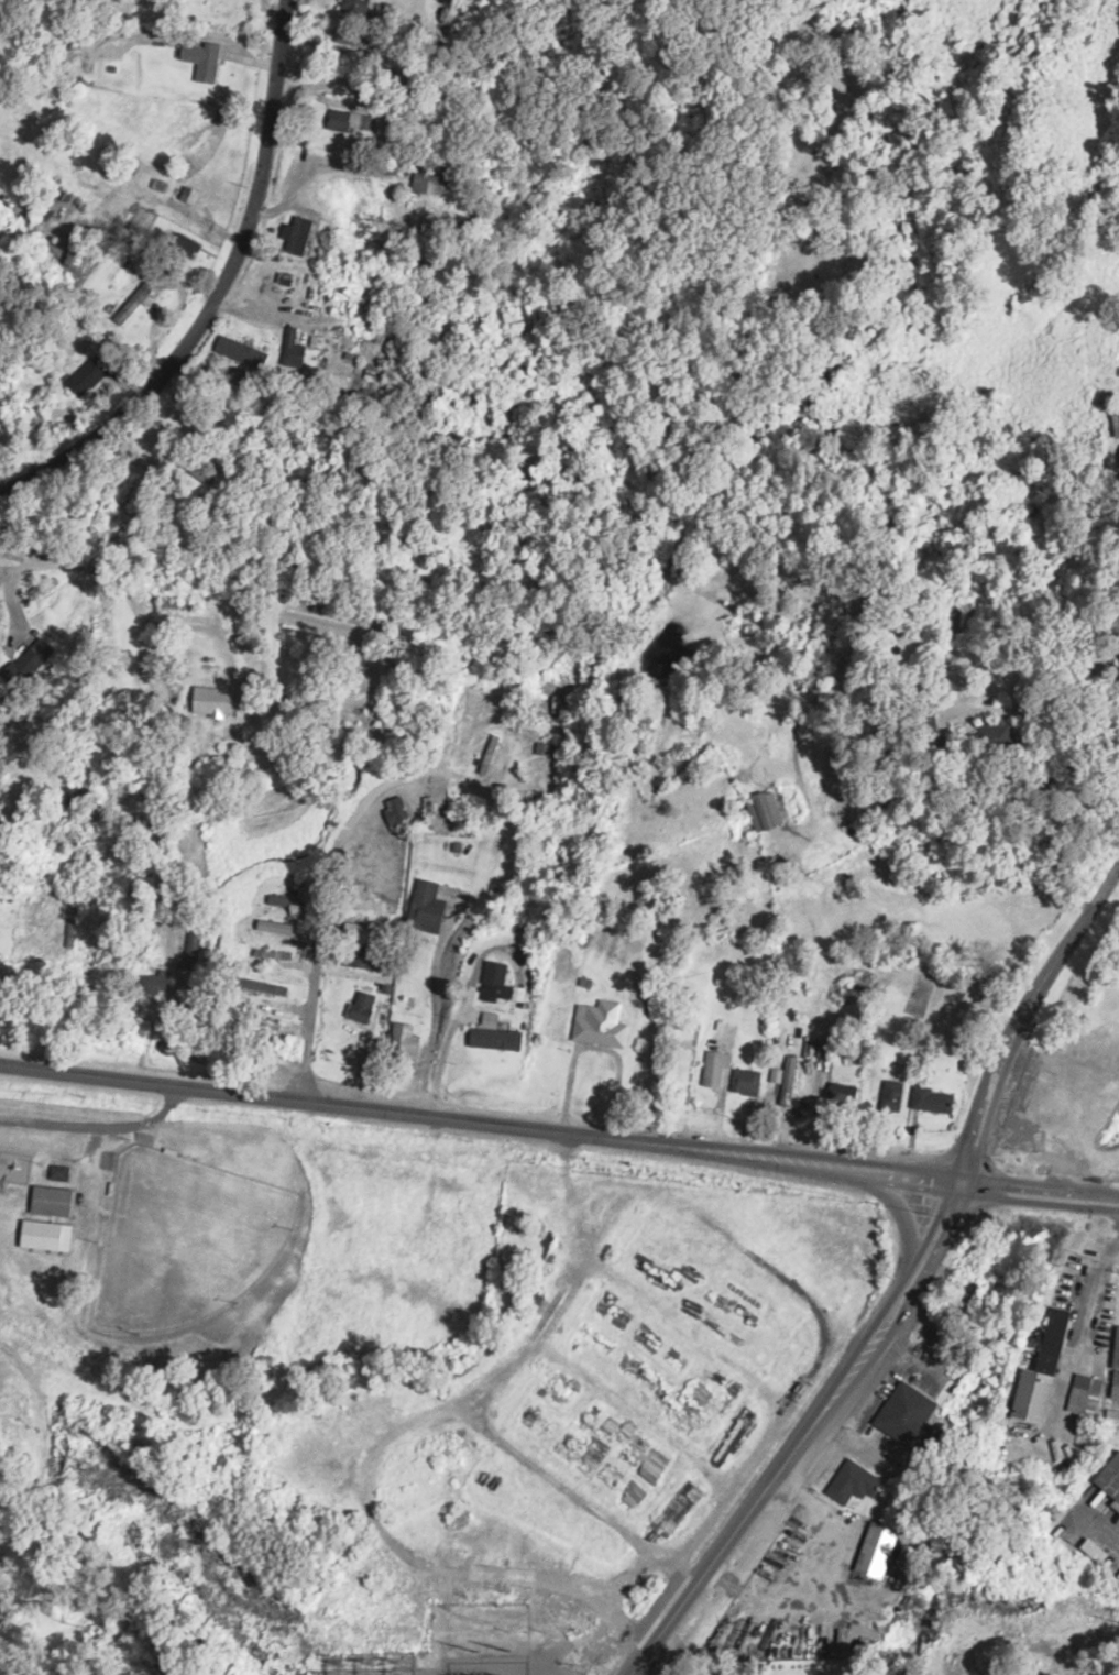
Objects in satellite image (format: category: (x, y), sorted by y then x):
building: (355, 10)
building: (352, 46)
building: (204, 59)
building: (348, 121)
building: (432, 183)
building: (311, 194)
building: (191, 195)
building: (299, 236)
building: (185, 247)
road: (216, 291)
building: (135, 303)
building: (240, 352)
building: (90, 375)
building: (29, 661)
building: (560, 703)
building: (1002, 738)
building: (767, 812)
building: (397, 813)
road: (327, 905)
building: (424, 907)
building: (278, 928)
building: (194, 945)
building: (500, 984)
building: (362, 1007)
building: (600, 1031)
building: (403, 1039)
building: (498, 1040)
building: (714, 1070)
building: (787, 1079)
building: (744, 1081)
building: (838, 1098)
building: (935, 1103)
road: (481, 1123)
building: (62, 1171)
road: (1041, 1190)
building: (56, 1201)
park: (172, 1237)
park: (199, 1269)
road: (914, 1274)
road: (461, 1333)
building: (950, 1334)
building: (465, 1366)
building: (1039, 1394)
building: (1090, 1394)
building: (911, 1413)
building: (858, 1482)
building: (880, 1550)
building: (1100, 1551)
power substation: (367, 1663)

